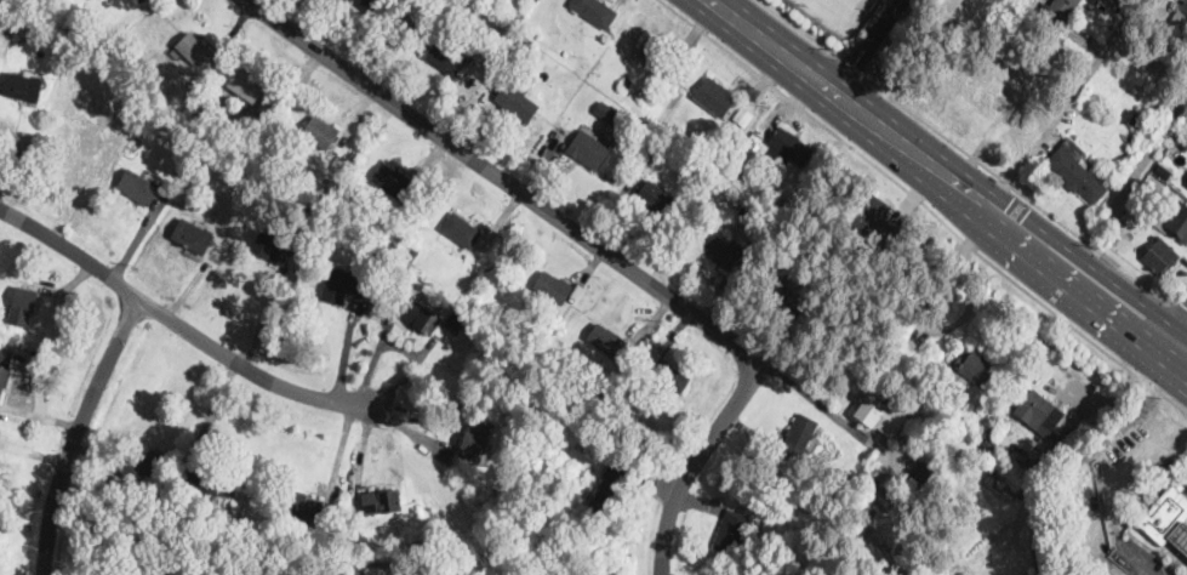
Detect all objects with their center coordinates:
building: (141, 1)
building: (1060, 10)
building: (381, 12)
building: (594, 12)
park: (838, 12)
building: (25, 22)
building: (102, 25)
road: (798, 27)
building: (1181, 34)
building: (107, 35)
building: (529, 45)
road: (867, 47)
building: (194, 50)
building: (447, 57)
building: (658, 58)
road: (852, 67)
building: (626, 84)
building: (245, 86)
building: (21, 87)
building: (714, 97)
building: (646, 98)
building: (517, 102)
building: (609, 113)
building: (743, 114)
building: (1137, 120)
road: (1050, 127)
building: (320, 133)
building: (791, 147)
building: (588, 150)
building: (655, 153)
building: (713, 156)
building: (1077, 171)
road: (936, 172)
building: (1163, 172)
building: (738, 175)
building: (326, 181)
road: (1129, 183)
building: (394, 184)
road: (510, 184)
building: (138, 188)
building: (729, 193)
road: (1027, 198)
building: (655, 201)
building: (740, 201)
road: (925, 204)
building: (874, 221)
building: (1180, 221)
building: (461, 230)
building: (192, 237)
building: (272, 247)
building: (720, 251)
building: (411, 255)
building: (1160, 256)
road: (969, 273)
building: (342, 285)
building: (552, 287)
building: (792, 296)
building: (22, 306)
road: (1180, 306)
building: (453, 315)
building: (421, 317)
road: (176, 323)
road: (1174, 324)
building: (523, 340)
building: (609, 343)
road: (1179, 345)
road: (1174, 364)
building: (978, 370)
building: (4, 377)
building: (669, 378)
building: (600, 392)
building: (1033, 408)
building: (881, 415)
road: (76, 431)
building: (799, 437)
building: (474, 440)
road: (33, 452)
building: (603, 459)
road: (692, 465)
building: (139, 466)
building: (923, 483)
building: (206, 484)
building: (611, 485)
building: (1025, 493)
building: (883, 497)
building: (381, 502)
road: (1112, 502)
building: (302, 505)
building: (417, 511)
building: (133, 513)
building: (1165, 513)
building: (275, 525)
building: (731, 533)
building: (936, 534)
building: (1180, 536)
building: (349, 537)
road: (1094, 540)
building: (600, 551)
building: (155, 570)

